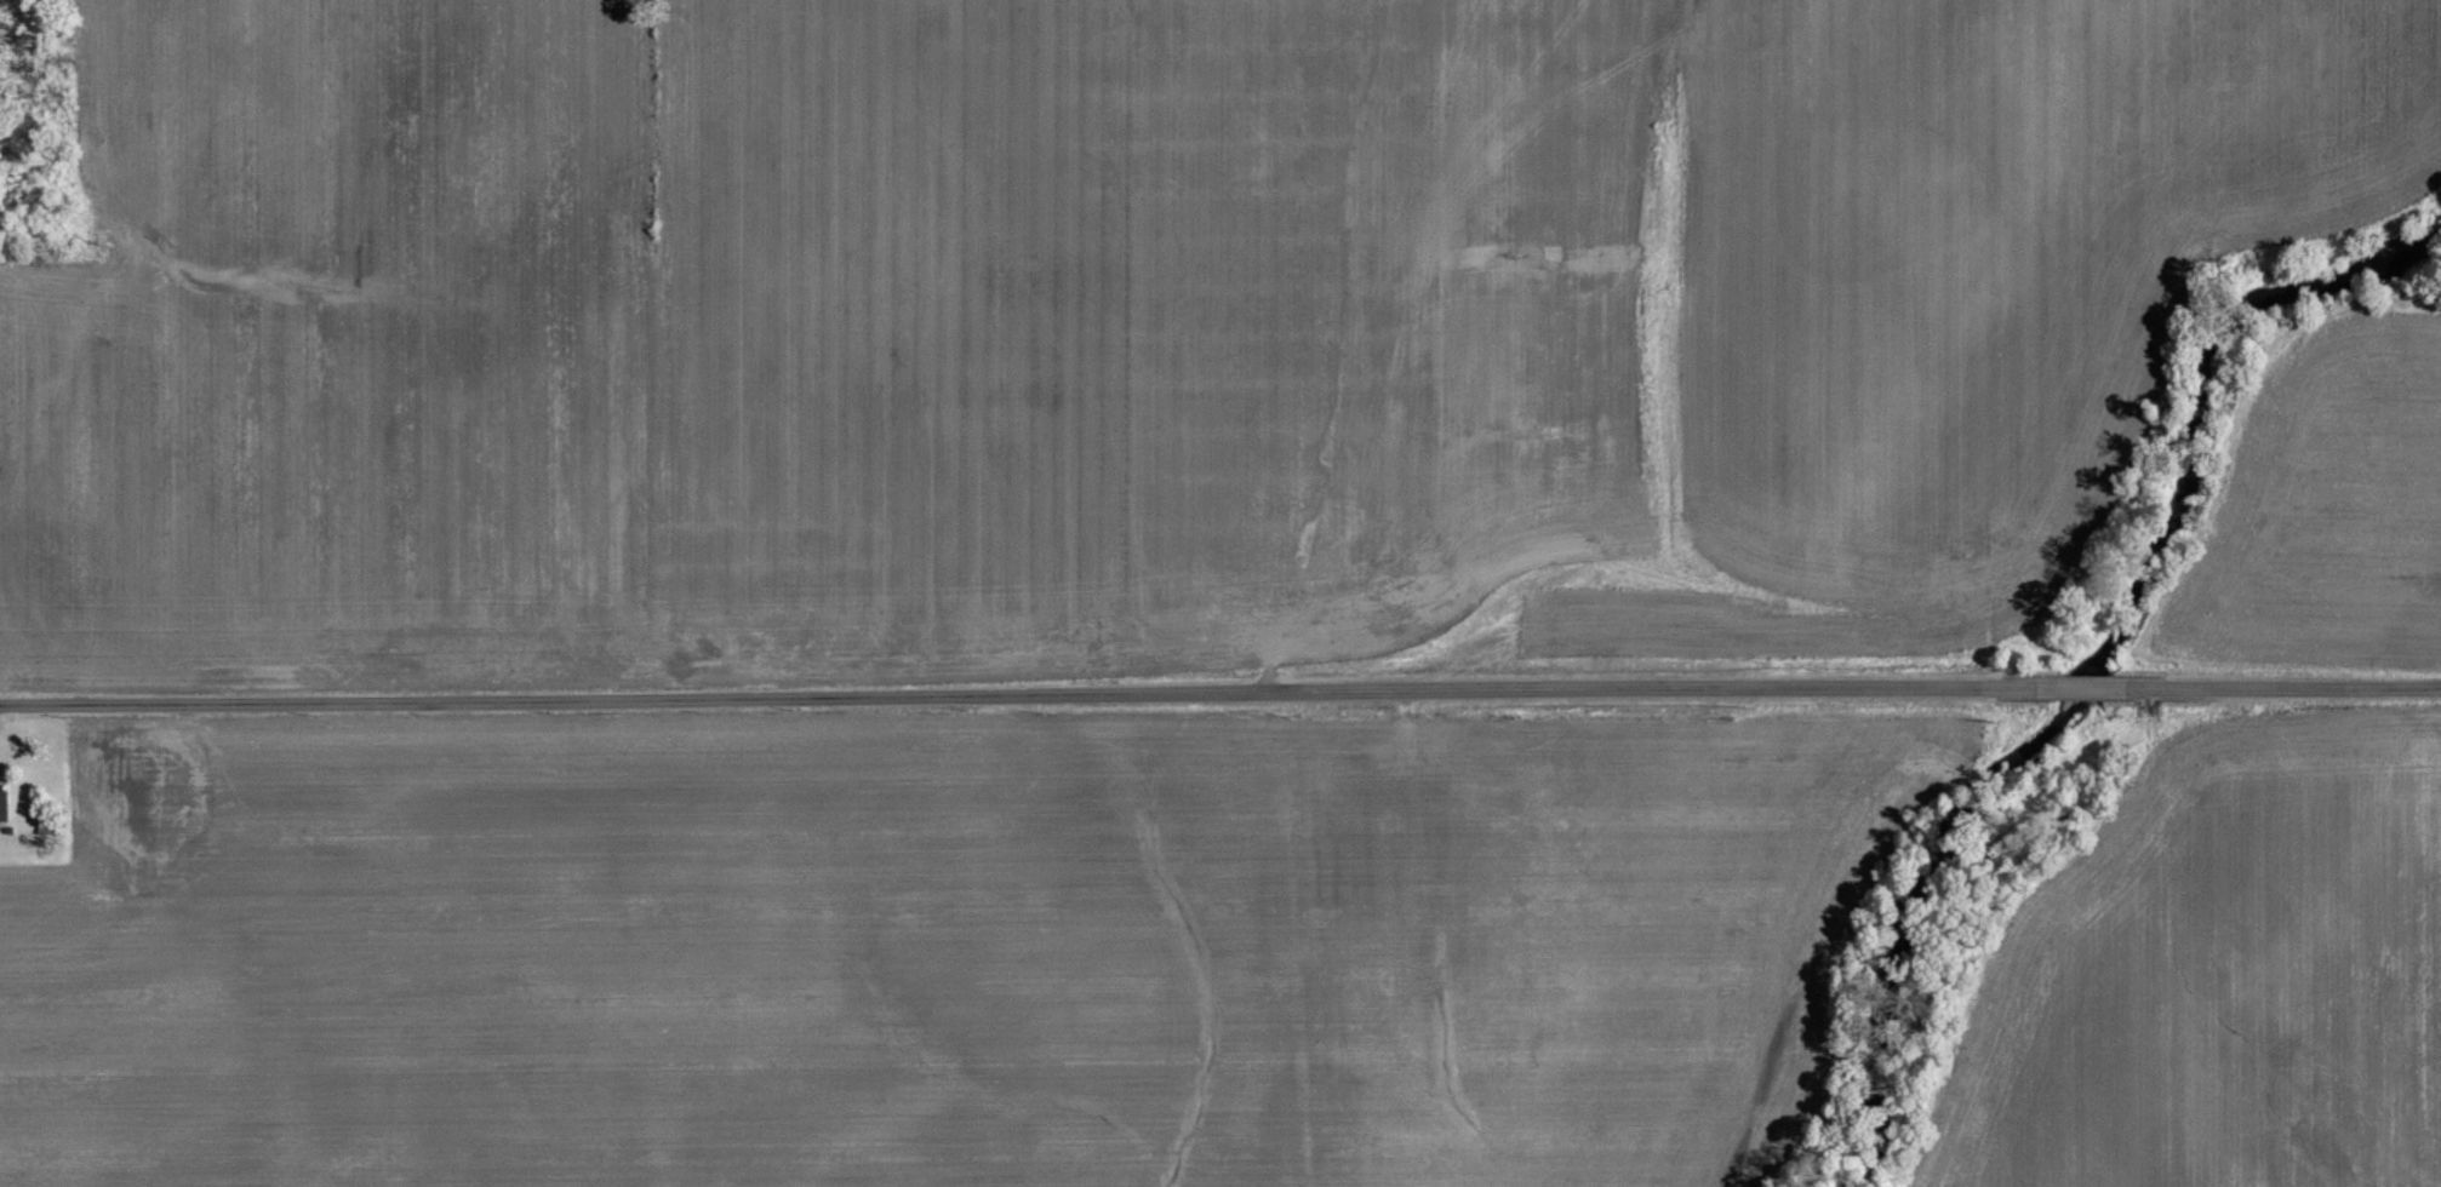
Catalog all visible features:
crop: (1115, 319)
crop: (2320, 506)
road: (2276, 688)
road: (2080, 689)
road: (1023, 695)
building: (2, 804)

